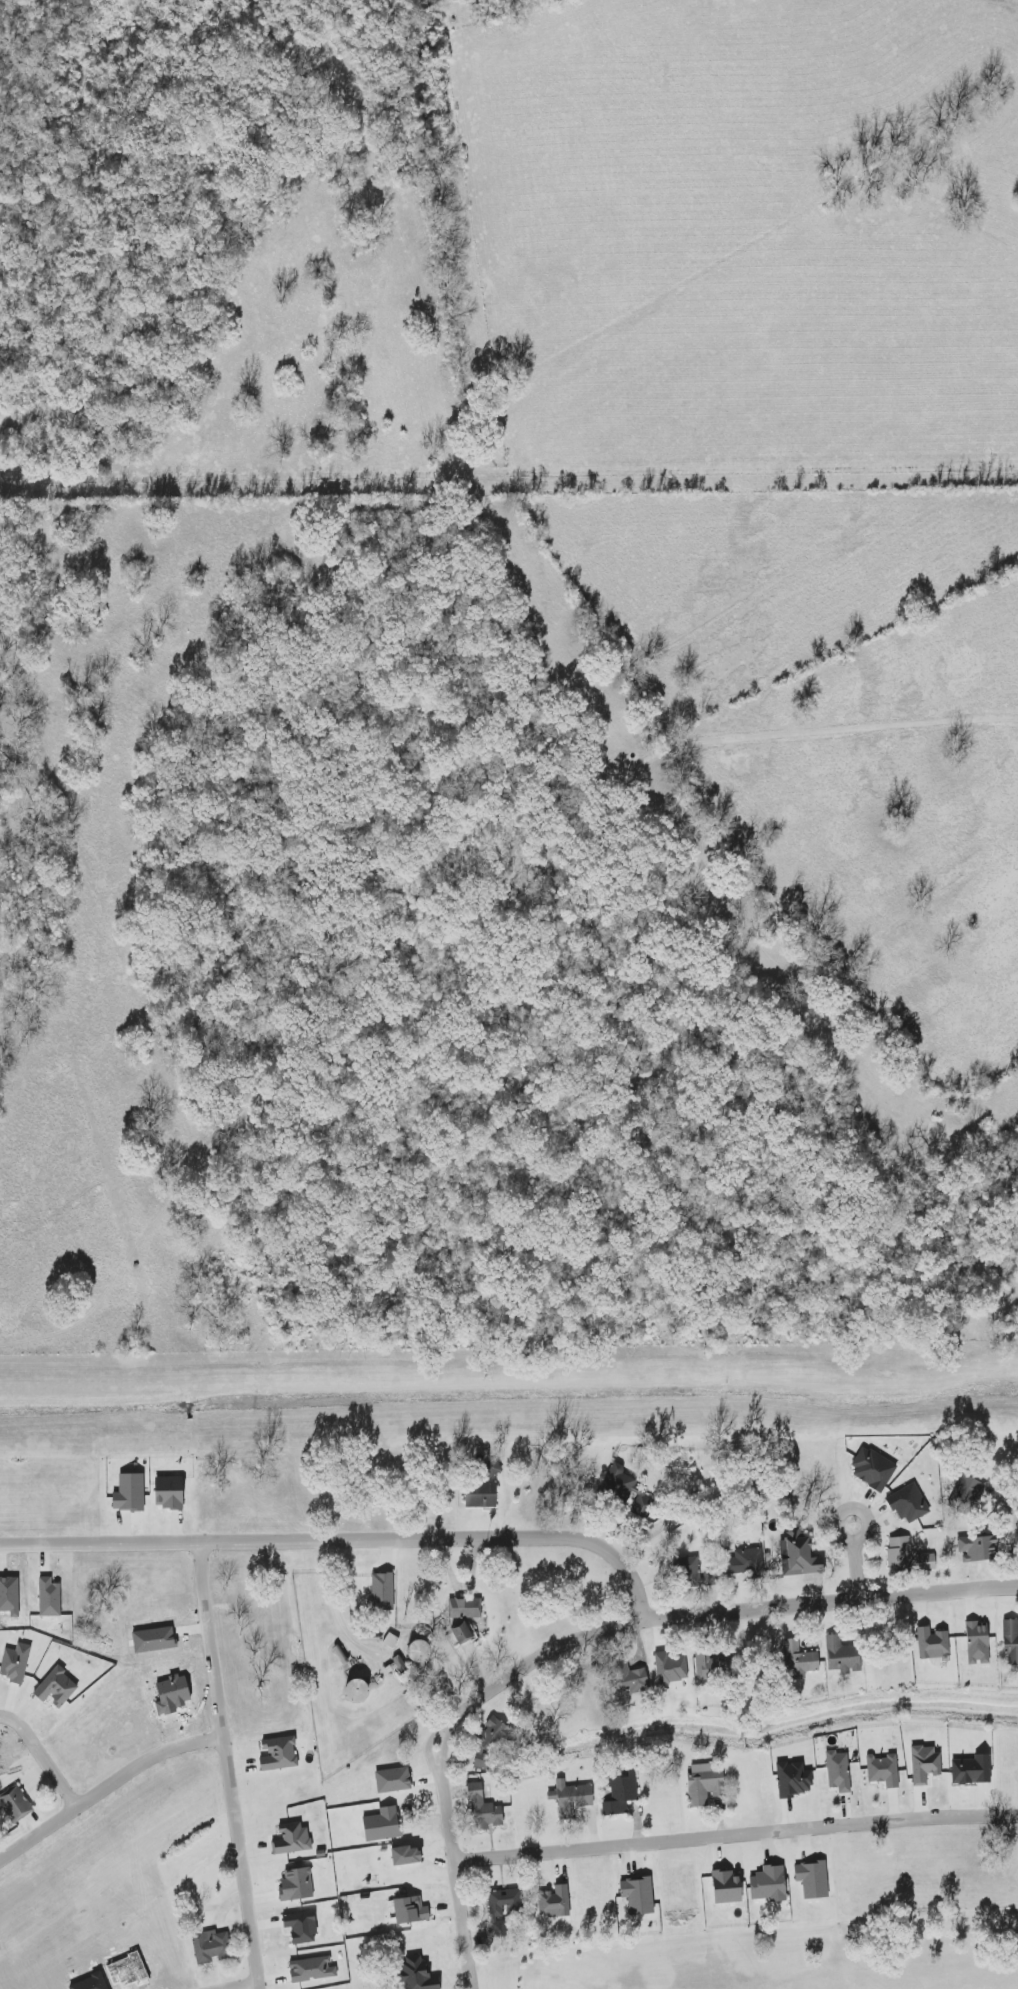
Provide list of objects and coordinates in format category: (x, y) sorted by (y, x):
building: (873, 1468)
building: (130, 1492)
building: (171, 1492)
building: (482, 1496)
building: (909, 1503)
building: (642, 1505)
road: (349, 1540)
building: (979, 1548)
building: (802, 1554)
building: (908, 1556)
building: (745, 1561)
road: (861, 1571)
building: (702, 1573)
building: (382, 1591)
building: (49, 1598)
road: (330, 1605)
building: (466, 1606)
road: (651, 1622)
building: (466, 1634)
building: (390, 1640)
building: (1011, 1642)
building: (933, 1643)
building: (420, 1651)
building: (843, 1656)
building: (802, 1657)
building: (15, 1662)
building: (672, 1666)
building: (713, 1666)
building: (57, 1687)
building: (358, 1690)
building: (491, 1744)
building: (280, 1754)
road: (42, 1759)
building: (924, 1764)
road: (233, 1765)
building: (884, 1770)
building: (970, 1770)
building: (839, 1771)
building: (795, 1779)
building: (705, 1784)
road: (109, 1788)
building: (622, 1794)
building: (572, 1796)
building: (15, 1805)
building: (485, 1806)
building: (383, 1824)
road: (736, 1836)
building: (293, 1839)
building: (408, 1855)
building: (814, 1879)
building: (771, 1884)
building: (297, 1885)
building: (728, 1887)
building: (639, 1895)
building: (555, 1901)
building: (504, 1907)
building: (410, 1910)
road: (465, 1925)
building: (303, 1927)
building: (211, 1946)
park: (814, 1956)
building: (312, 1969)
building: (419, 1974)
road: (259, 1988)

